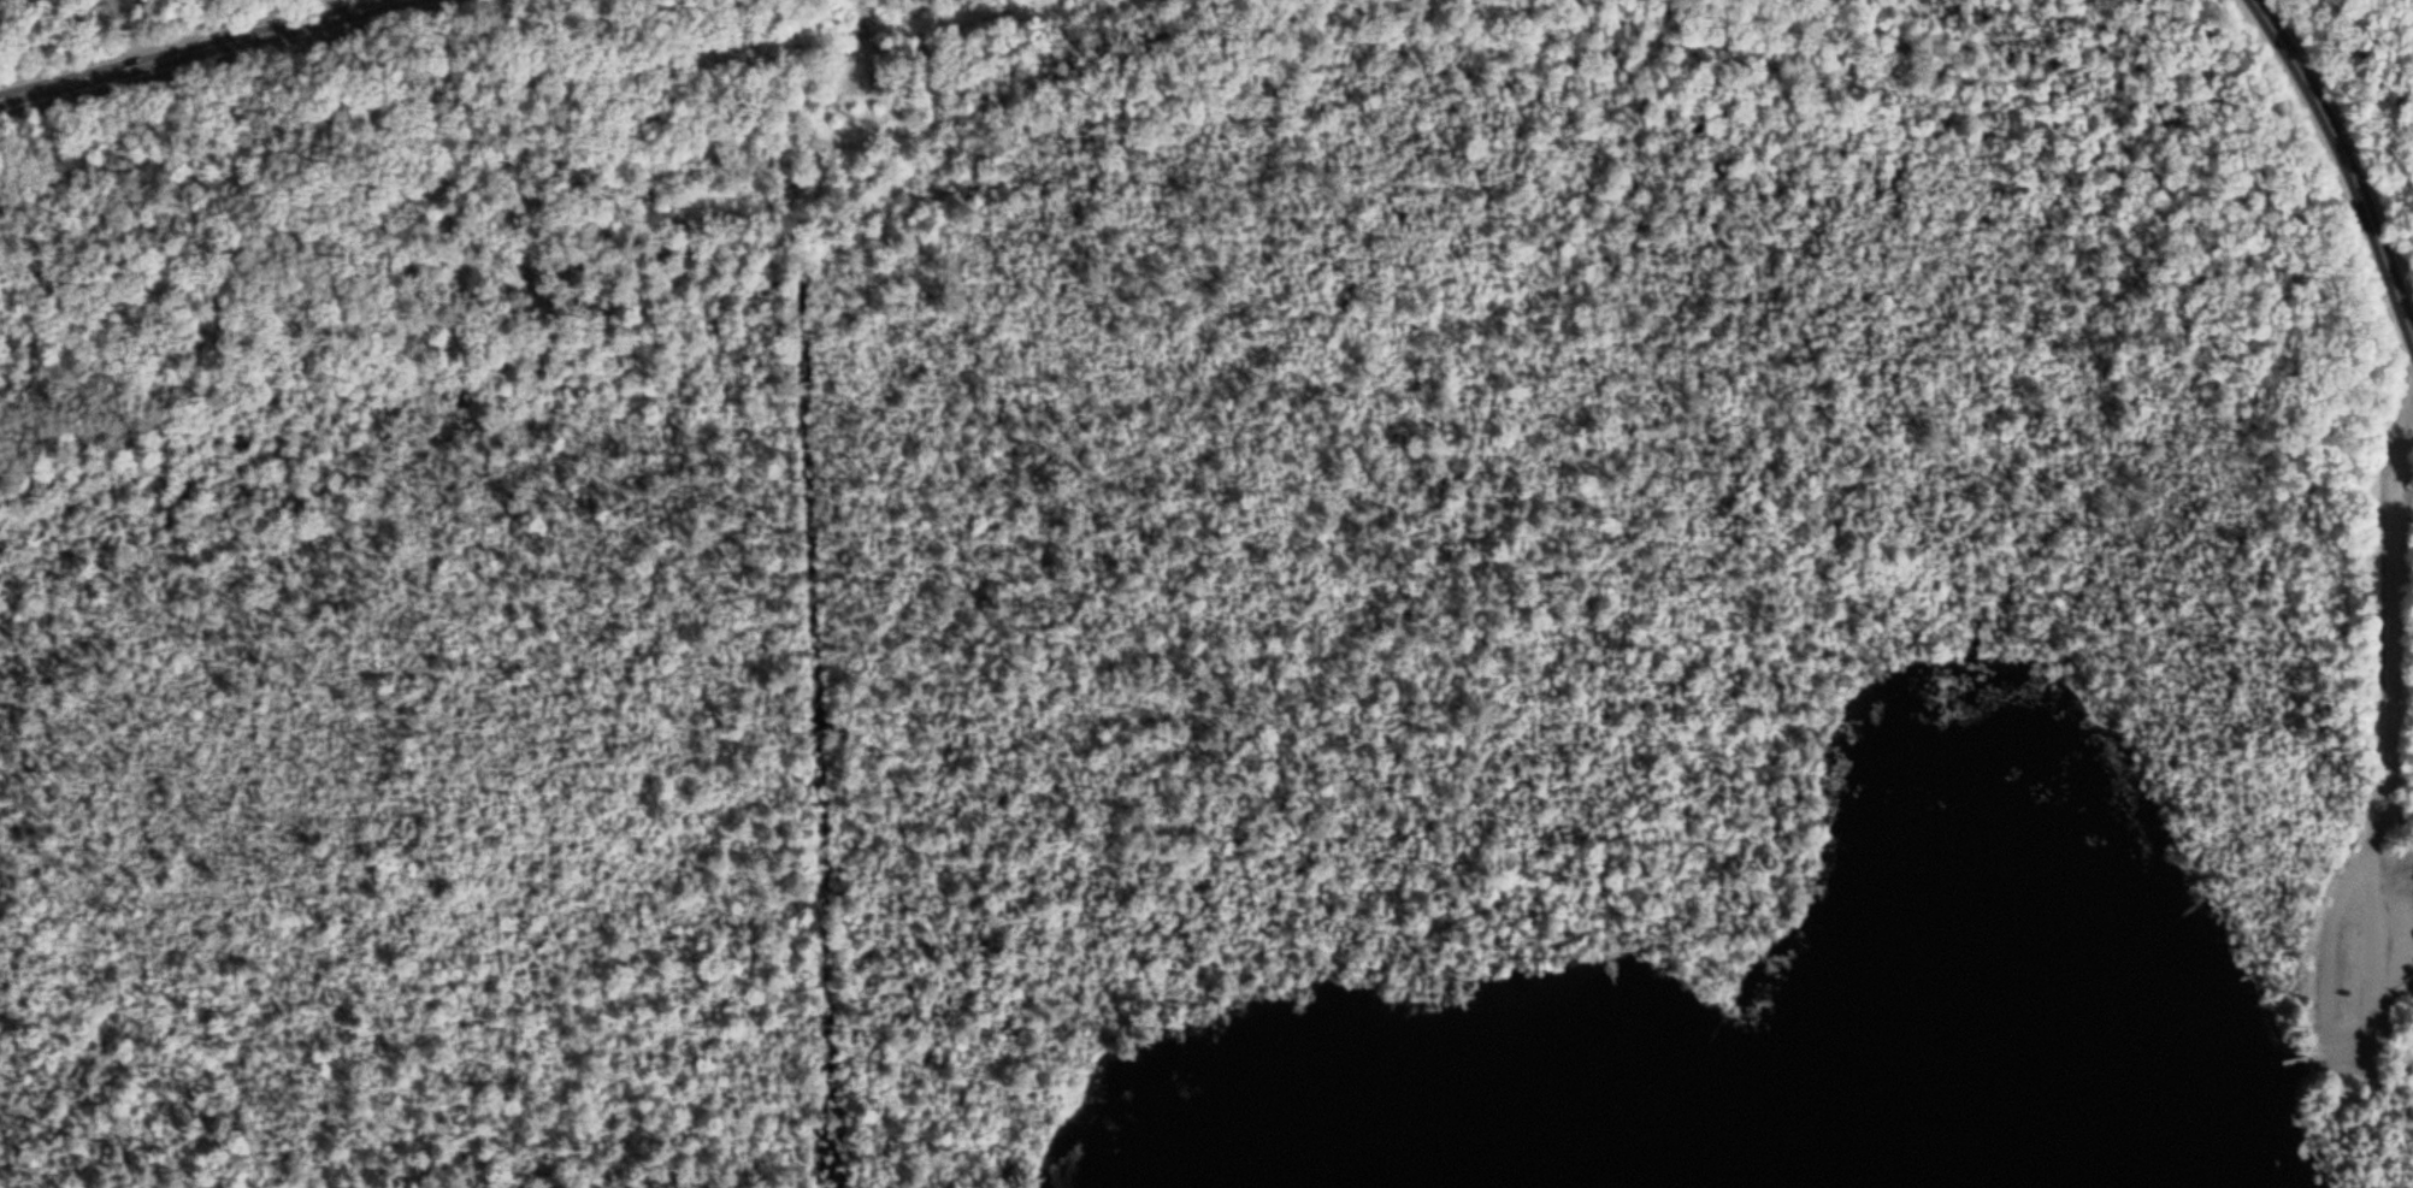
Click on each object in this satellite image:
road: (201, 49)
road: (2343, 167)
road: (2384, 758)
parking lot: (2364, 953)
building: (2407, 1056)

